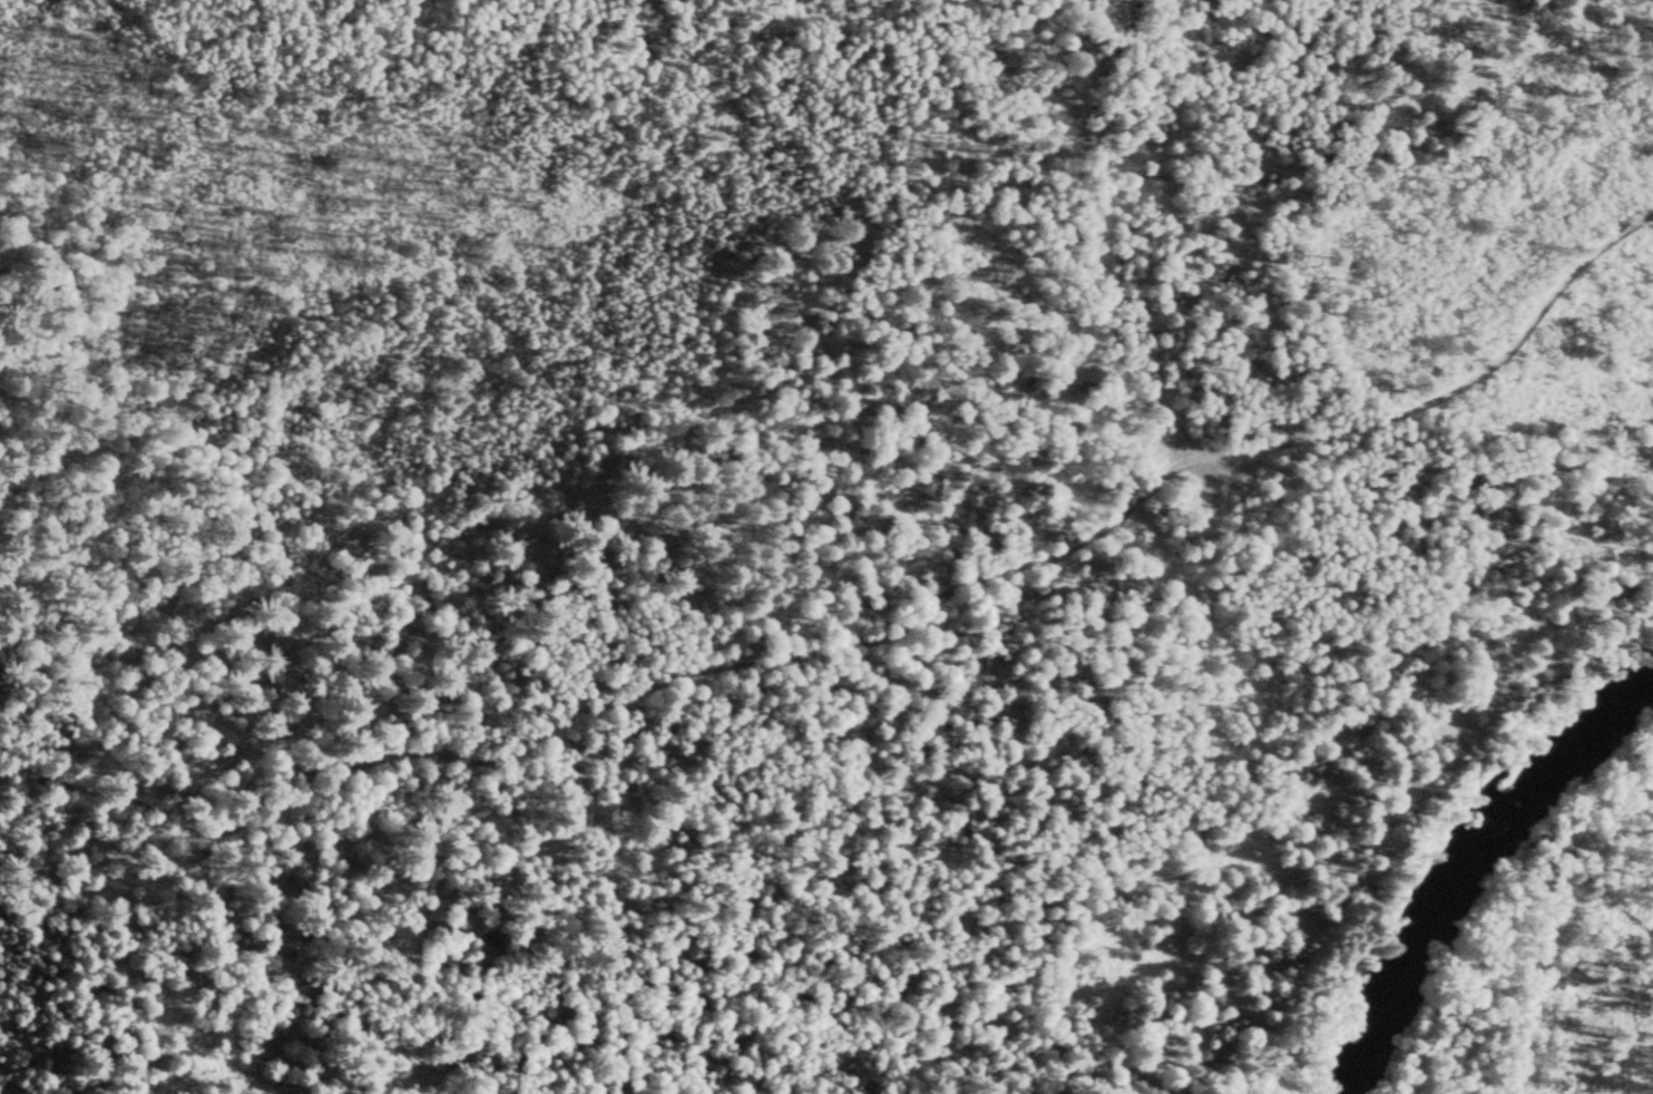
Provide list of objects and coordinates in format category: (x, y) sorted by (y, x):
river: (1474, 867)

